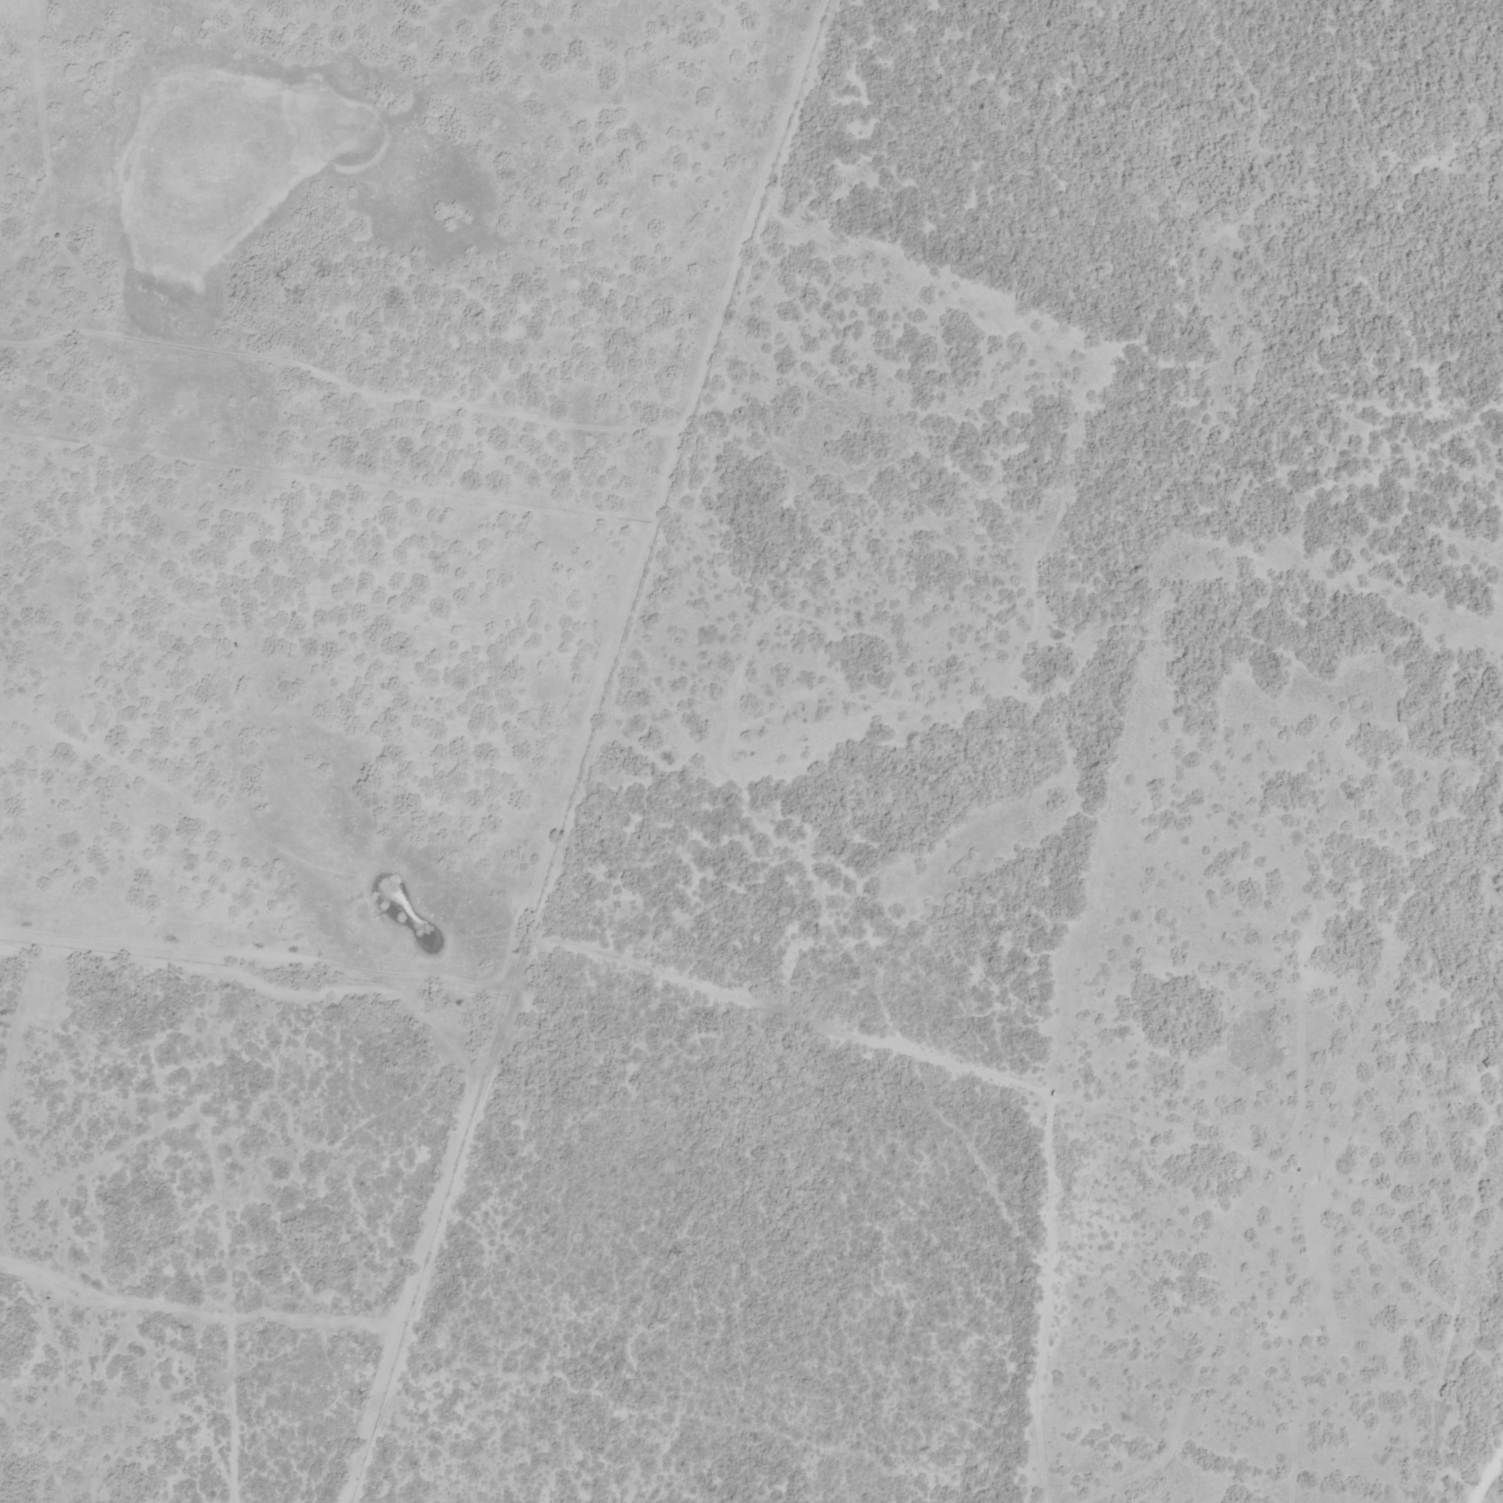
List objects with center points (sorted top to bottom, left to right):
road: (1489, 1479)

